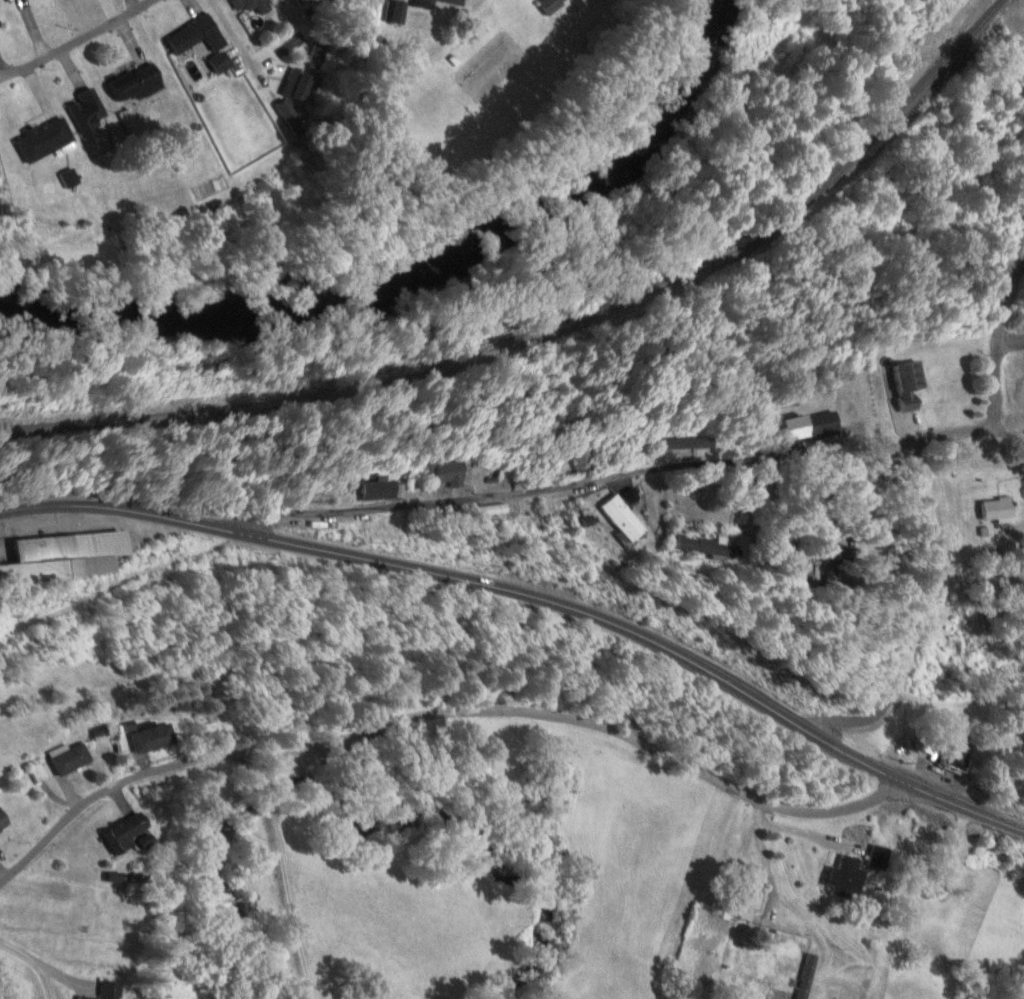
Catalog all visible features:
building: (257, 5)
building: (197, 35)
road: (75, 40)
building: (221, 62)
building: (137, 84)
building: (88, 110)
building: (44, 138)
river: (406, 251)
road: (998, 318)
railway: (560, 337)
road: (1010, 341)
building: (909, 381)
building: (824, 425)
road: (1009, 434)
building: (454, 473)
road: (613, 475)
building: (386, 491)
building: (997, 510)
building: (630, 520)
building: (714, 548)
building: (69, 560)
road: (533, 598)
building: (0, 602)
road: (919, 610)
road: (440, 712)
building: (154, 738)
building: (952, 751)
building: (71, 759)
building: (4, 820)
road: (789, 824)
building: (129, 833)
road: (76, 837)
road: (282, 873)
building: (845, 876)
road: (771, 886)
building: (807, 976)
building: (109, 990)

